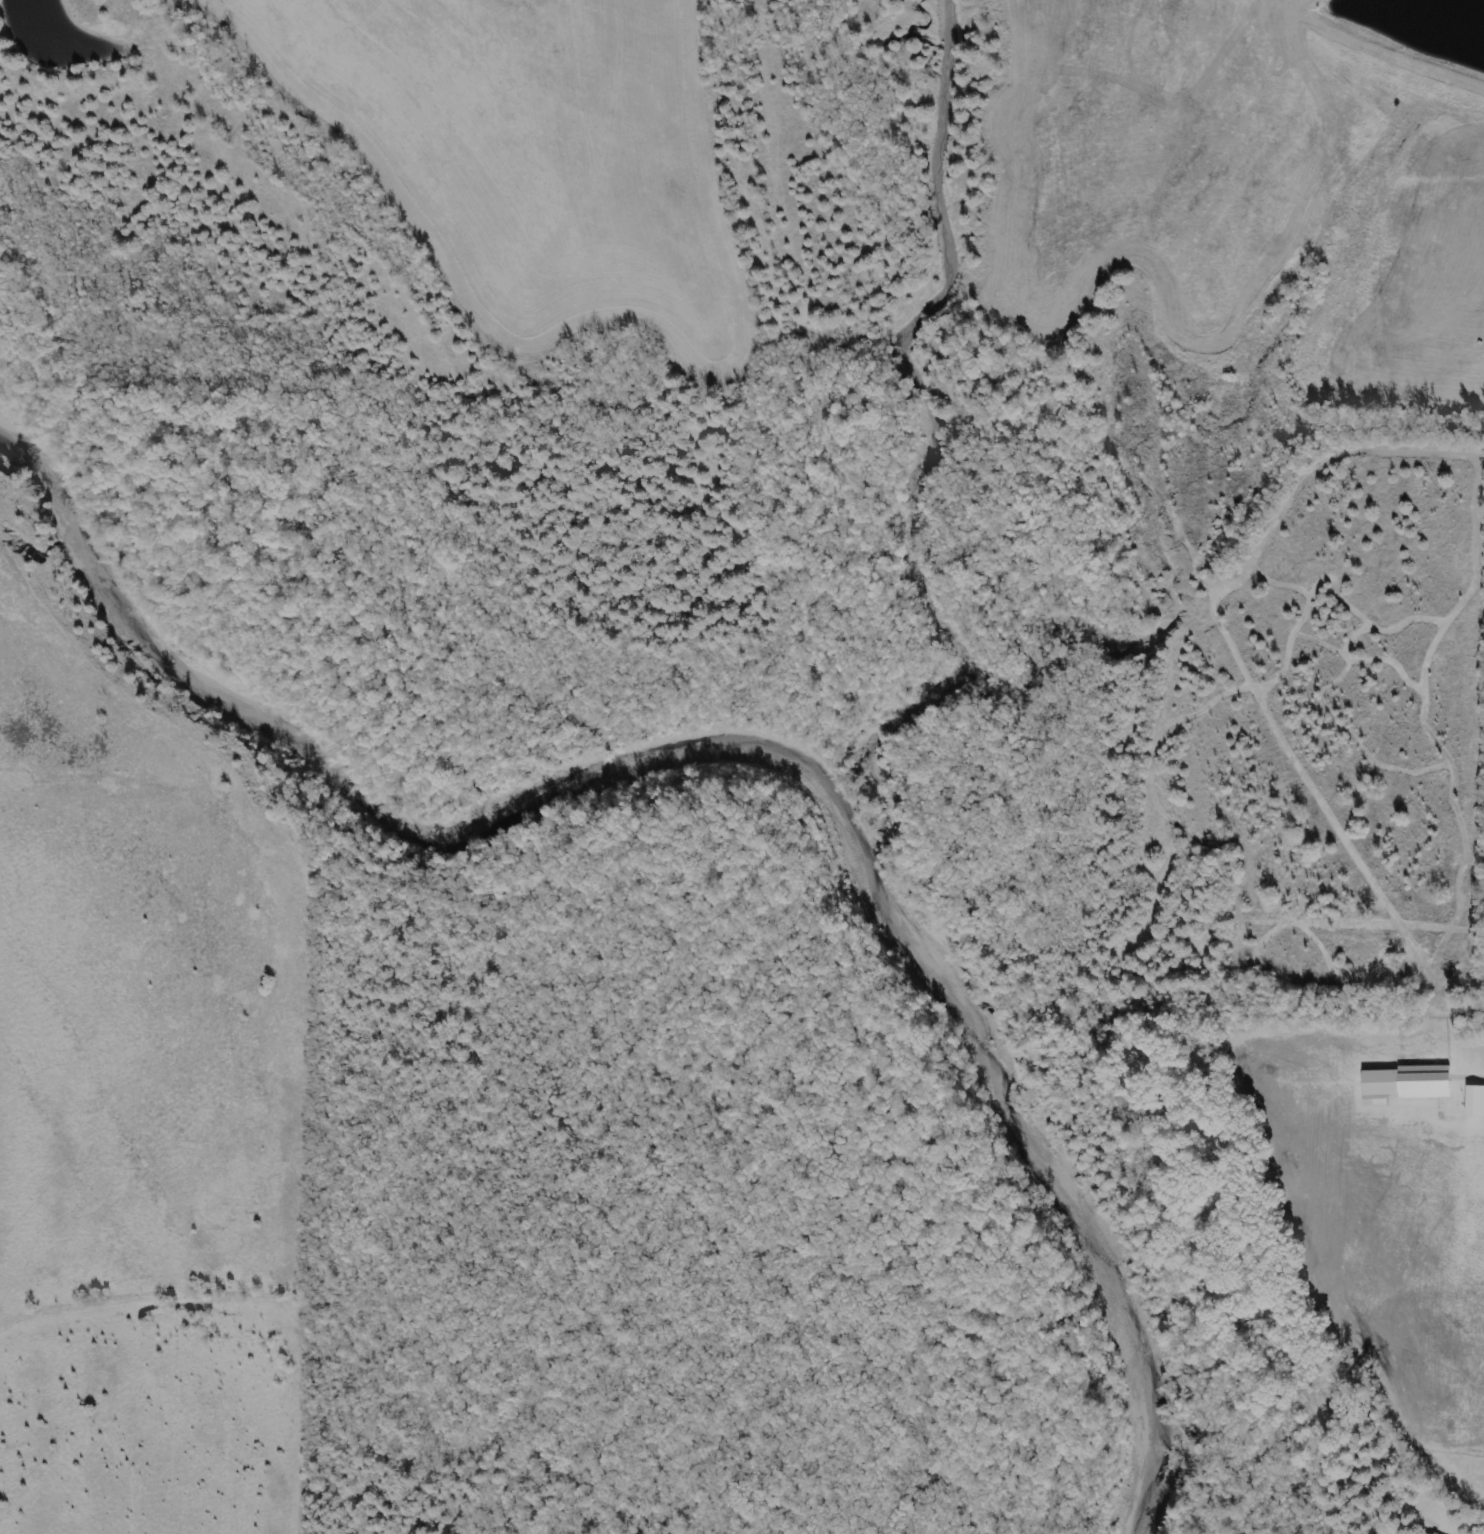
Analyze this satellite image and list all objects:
building: (1411, 1080)
building: (1476, 1100)
building: (1429, 1533)

